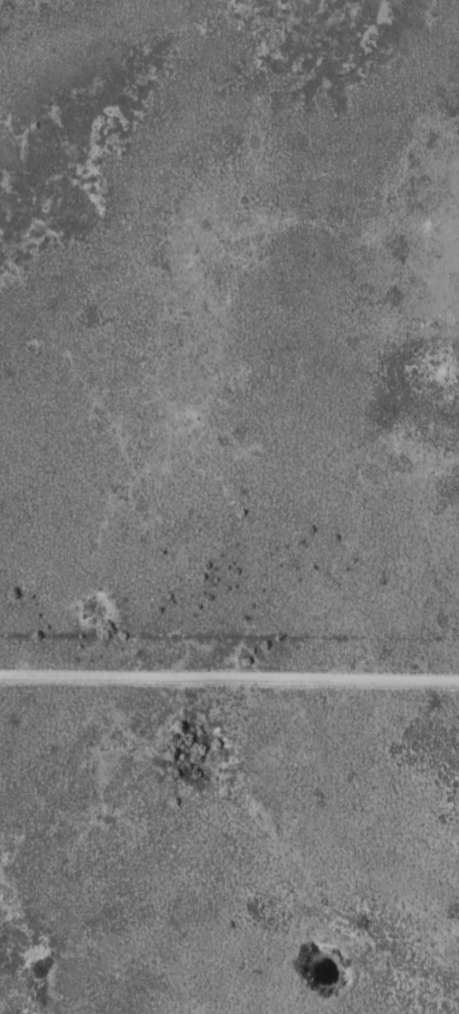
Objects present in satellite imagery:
road: (229, 669)

